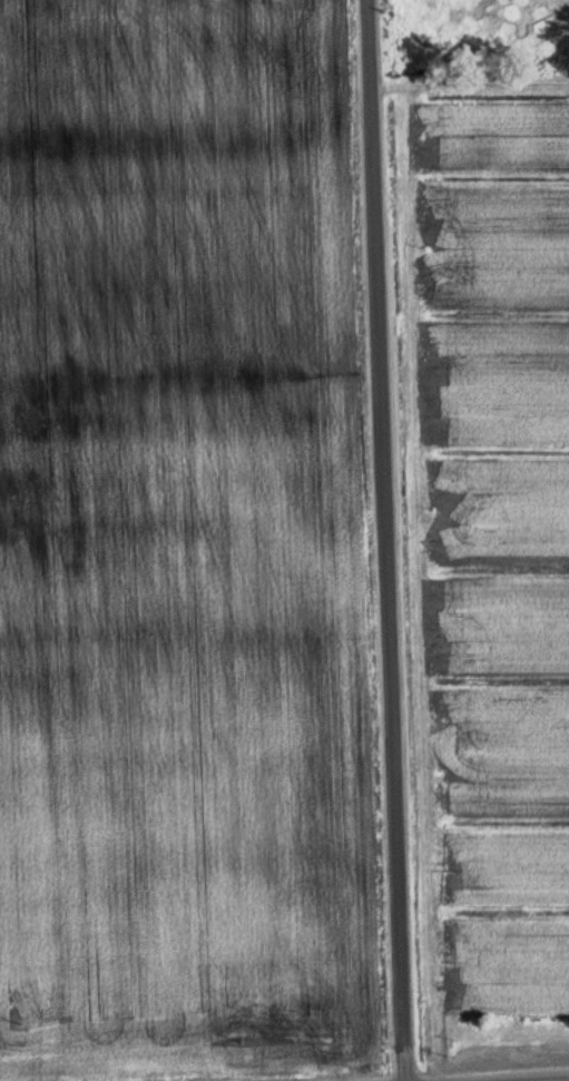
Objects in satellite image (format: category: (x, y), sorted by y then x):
road: (383, 540)
crop: (494, 547)
crop: (182, 548)

